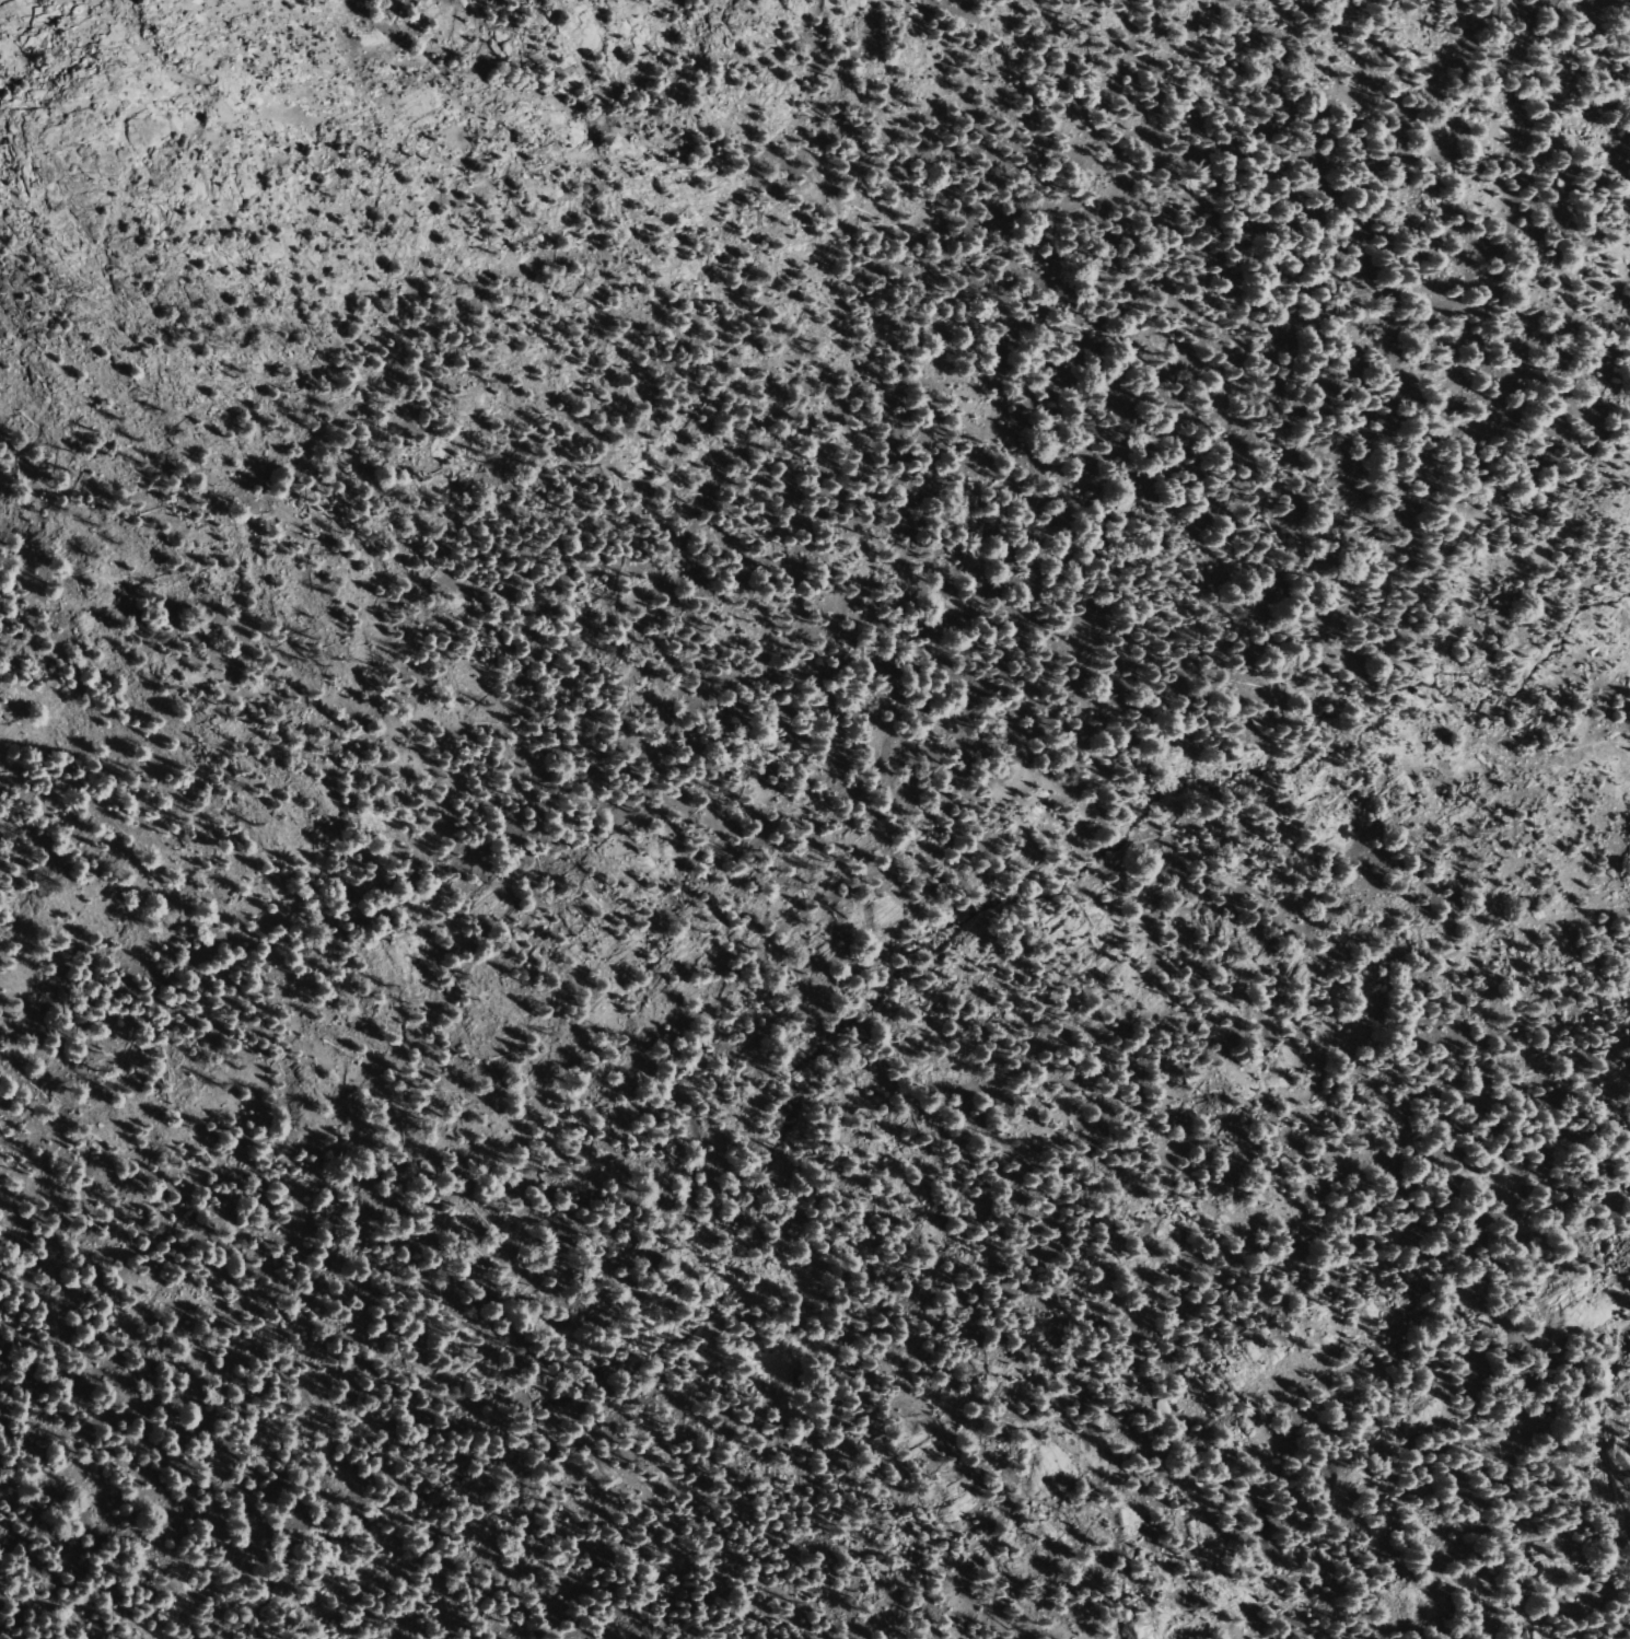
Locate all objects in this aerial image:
road: (9, 1632)

